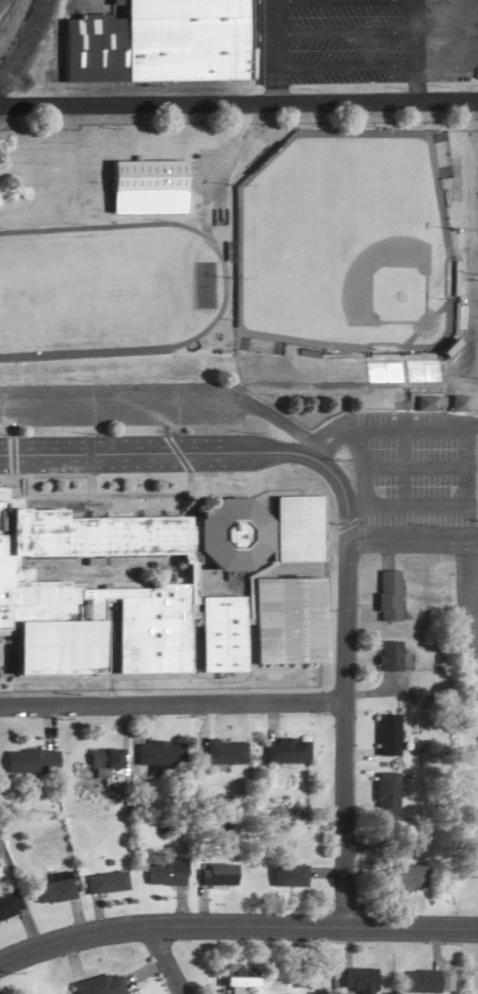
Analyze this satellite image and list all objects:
building: (151, 44)
road: (239, 103)
building: (143, 176)
park: (345, 242)
building: (423, 402)
road: (203, 452)
road: (411, 539)
road: (343, 553)
building: (123, 592)
building: (384, 596)
building: (281, 621)
building: (385, 656)
road: (171, 706)
building: (386, 733)
road: (343, 746)
building: (284, 752)
building: (222, 753)
building: (158, 754)
building: (28, 762)
building: (105, 765)
building: (385, 798)
building: (163, 871)
building: (213, 874)
building: (286, 875)
building: (403, 876)
building: (103, 883)
building: (52, 889)
building: (8, 904)
road: (236, 926)
road: (161, 960)
building: (234, 979)
building: (356, 980)
building: (419, 981)
building: (94, 986)

